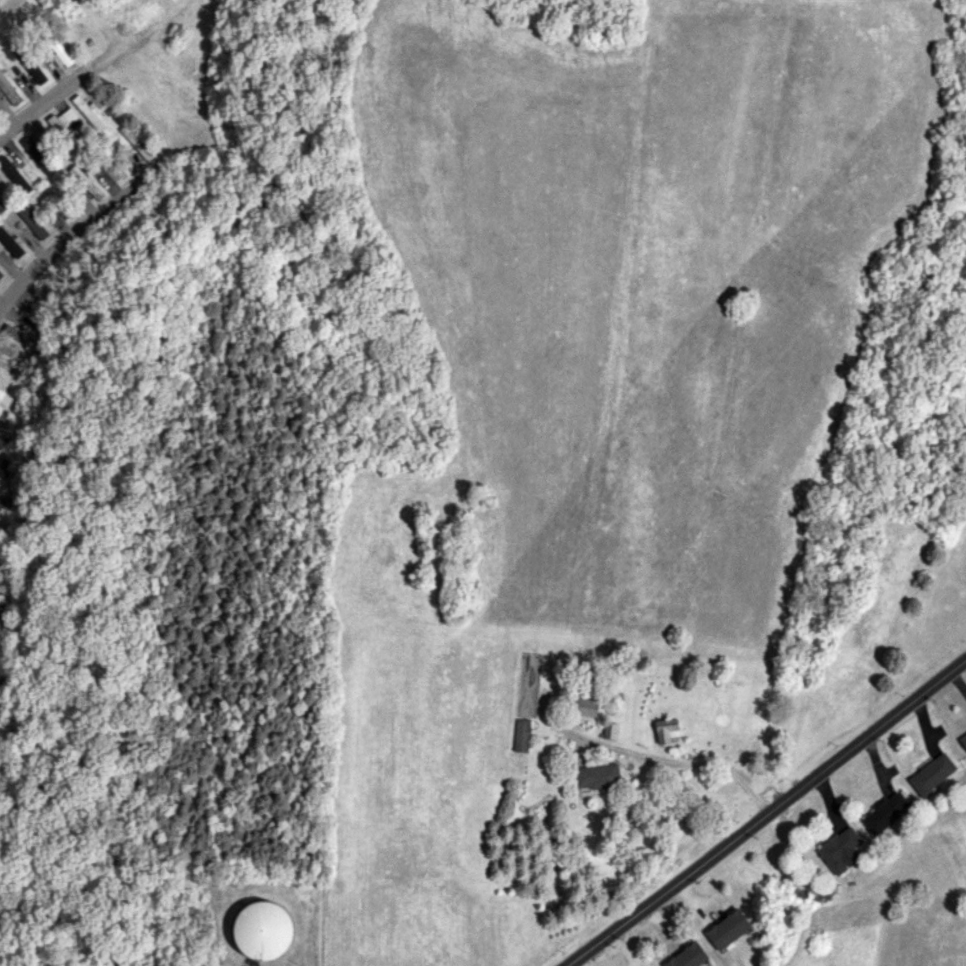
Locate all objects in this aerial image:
building: (59, 53)
building: (7, 90)
road: (44, 106)
building: (88, 113)
building: (65, 128)
building: (136, 142)
building: (38, 154)
building: (14, 174)
building: (86, 182)
building: (1, 206)
road: (86, 221)
building: (32, 222)
building: (10, 243)
building: (1, 274)
building: (19, 335)
building: (1, 393)
building: (3, 416)
building: (5, 442)
building: (3, 467)
building: (4, 501)
building: (5, 535)
building: (5, 598)
building: (7, 628)
building: (583, 706)
building: (665, 729)
building: (609, 730)
building: (521, 735)
building: (963, 740)
road: (684, 762)
building: (931, 774)
building: (595, 776)
building: (884, 811)
road: (764, 813)
building: (838, 848)
building: (262, 929)
building: (727, 929)
building: (687, 956)

